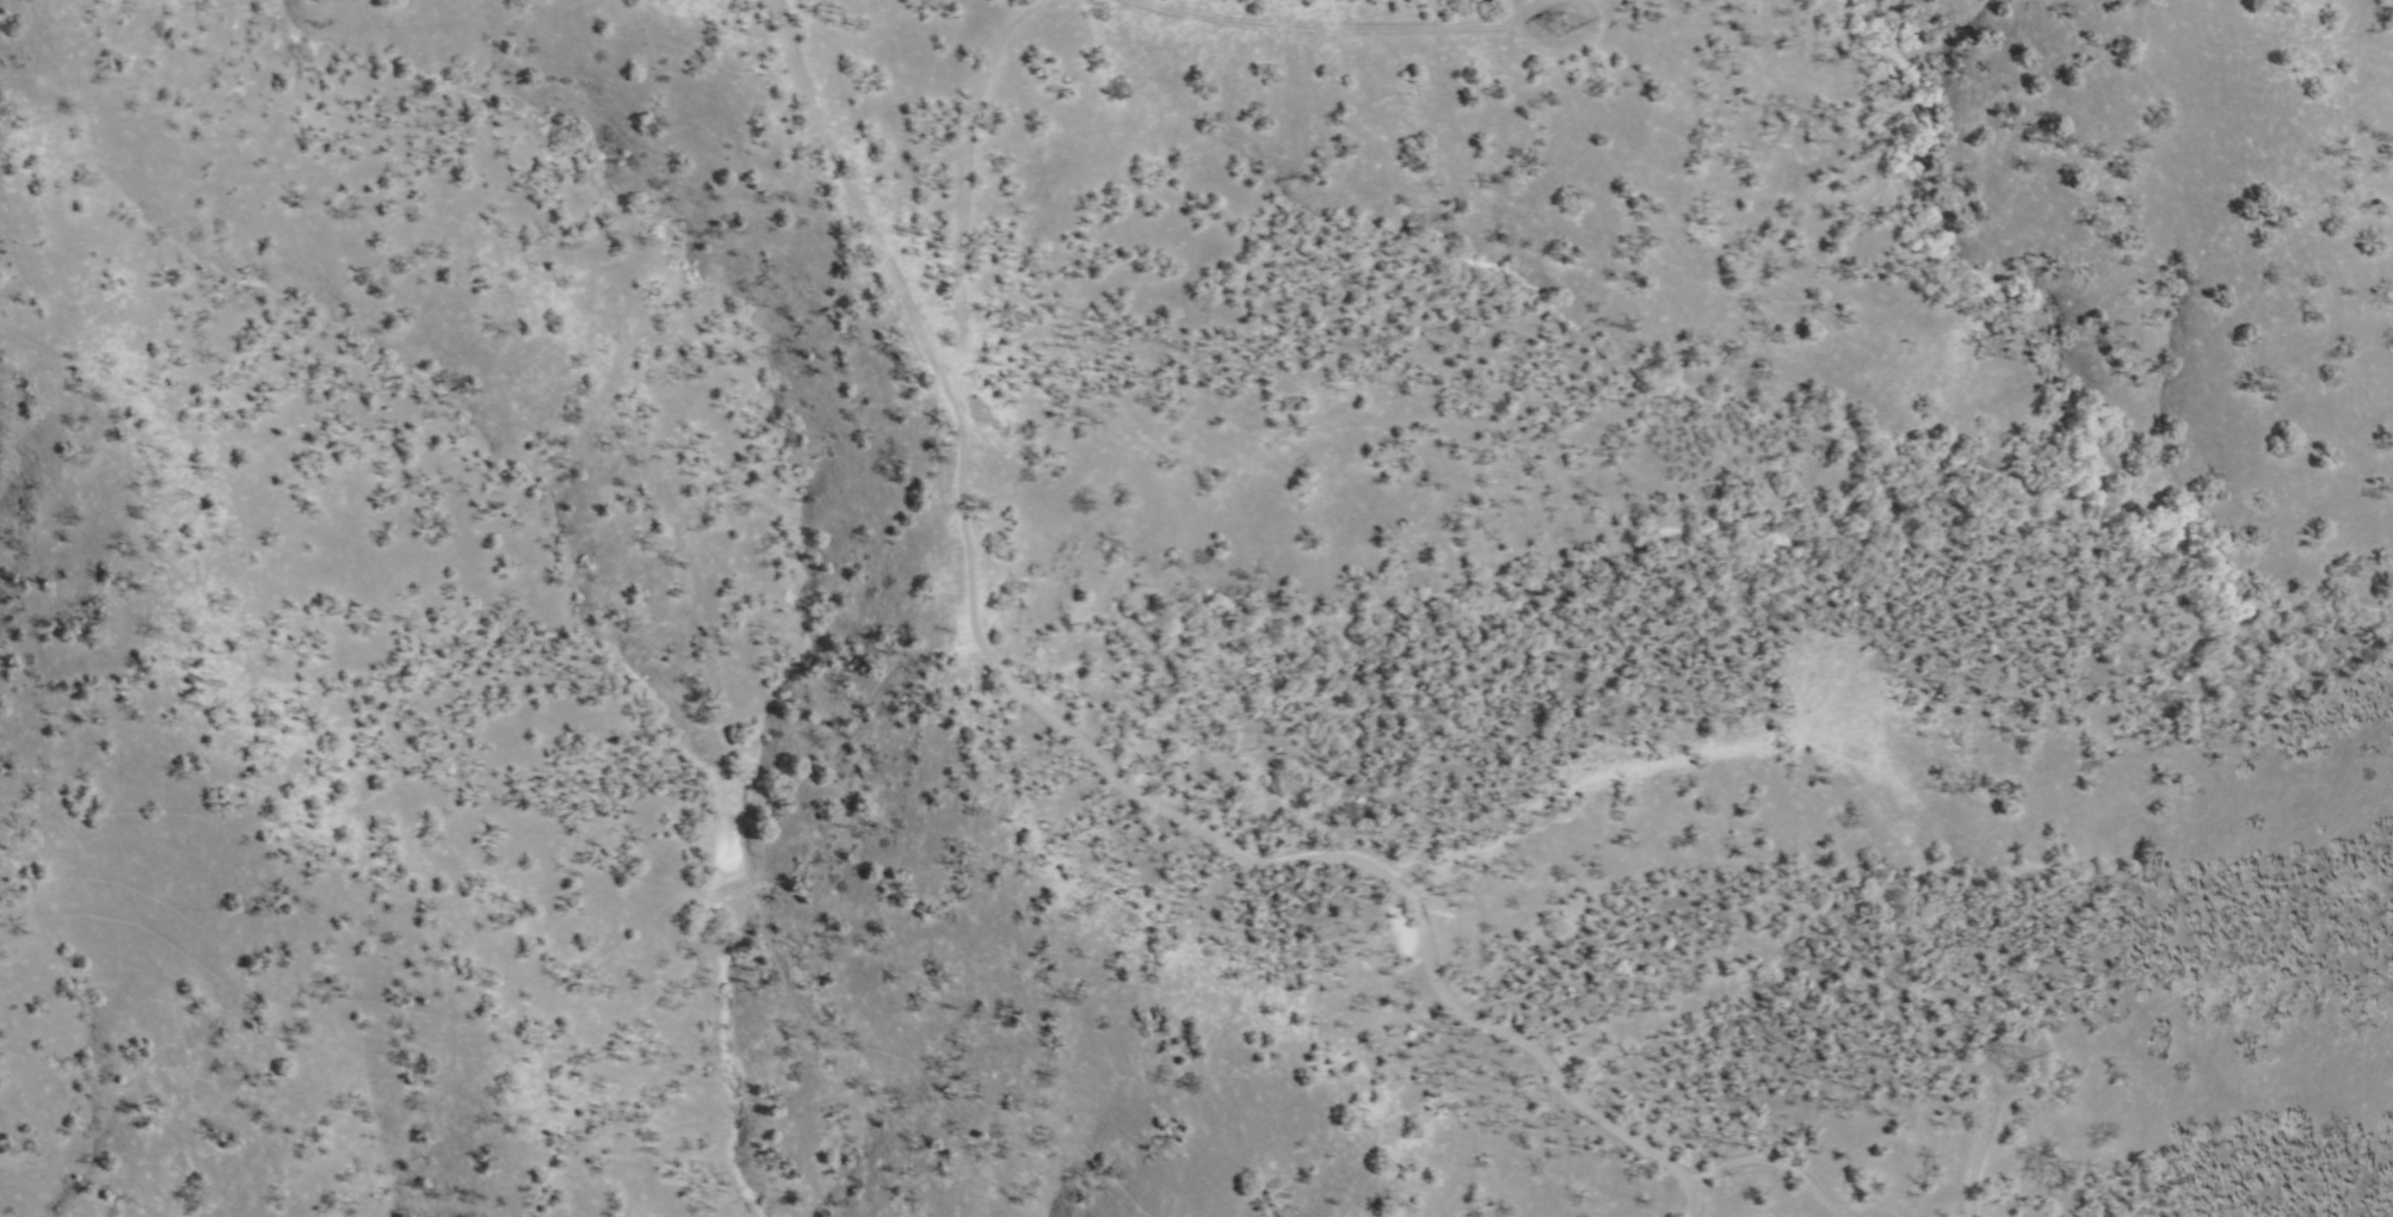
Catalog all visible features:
power tower: (1554, 24)
road: (1100, 723)
power tower: (2007, 1054)

